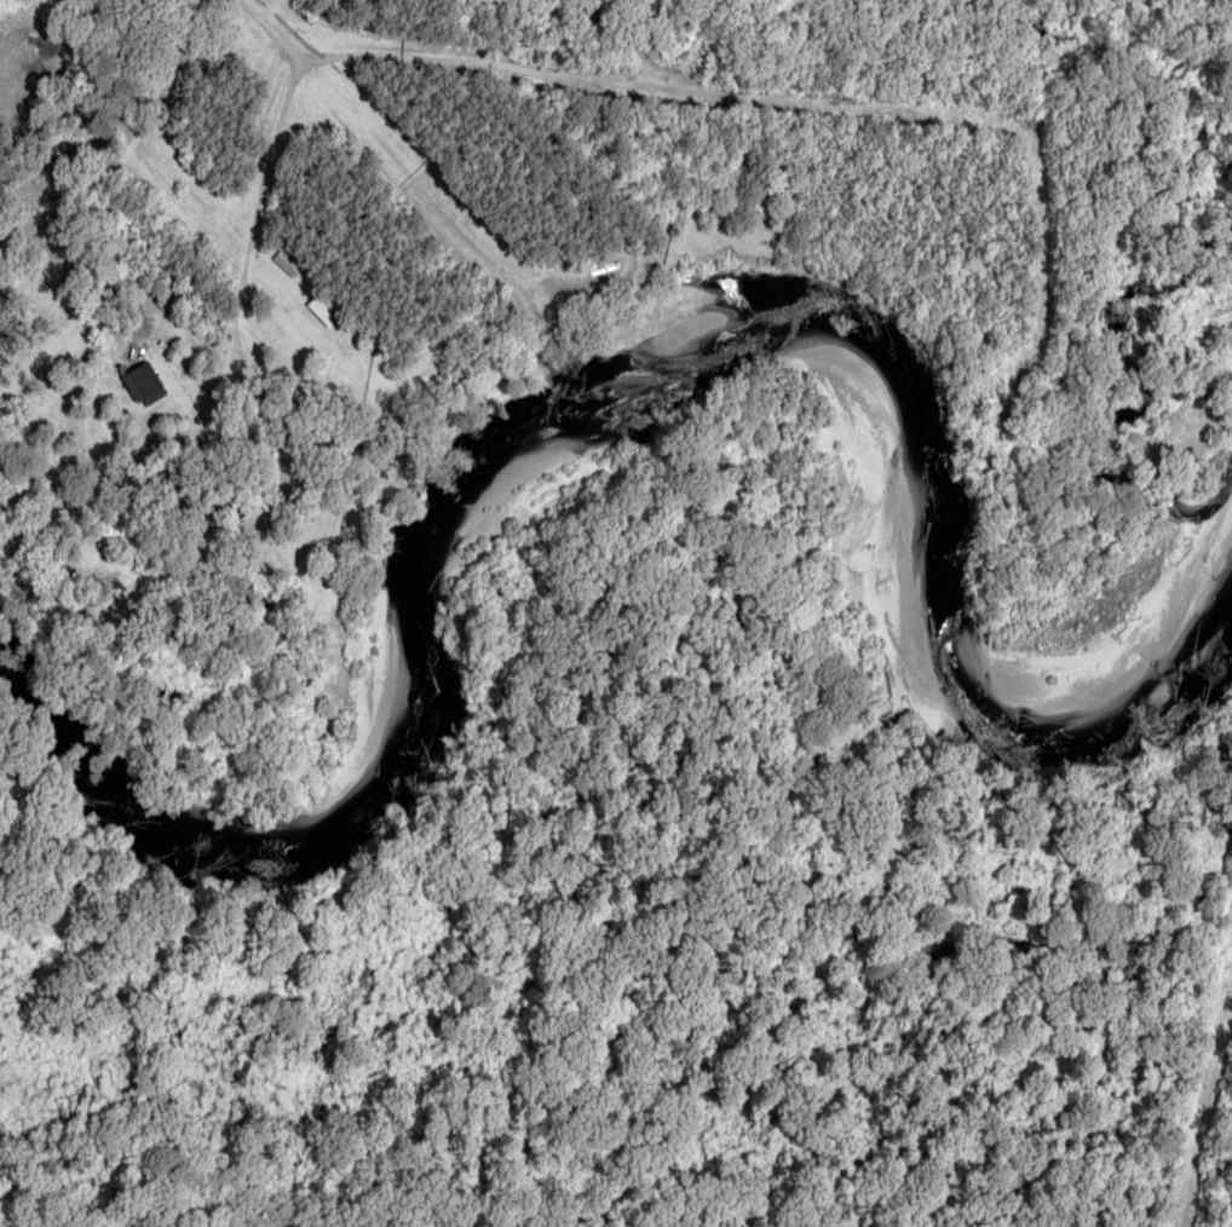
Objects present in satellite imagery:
building: (286, 261)
building: (323, 307)
building: (143, 384)

